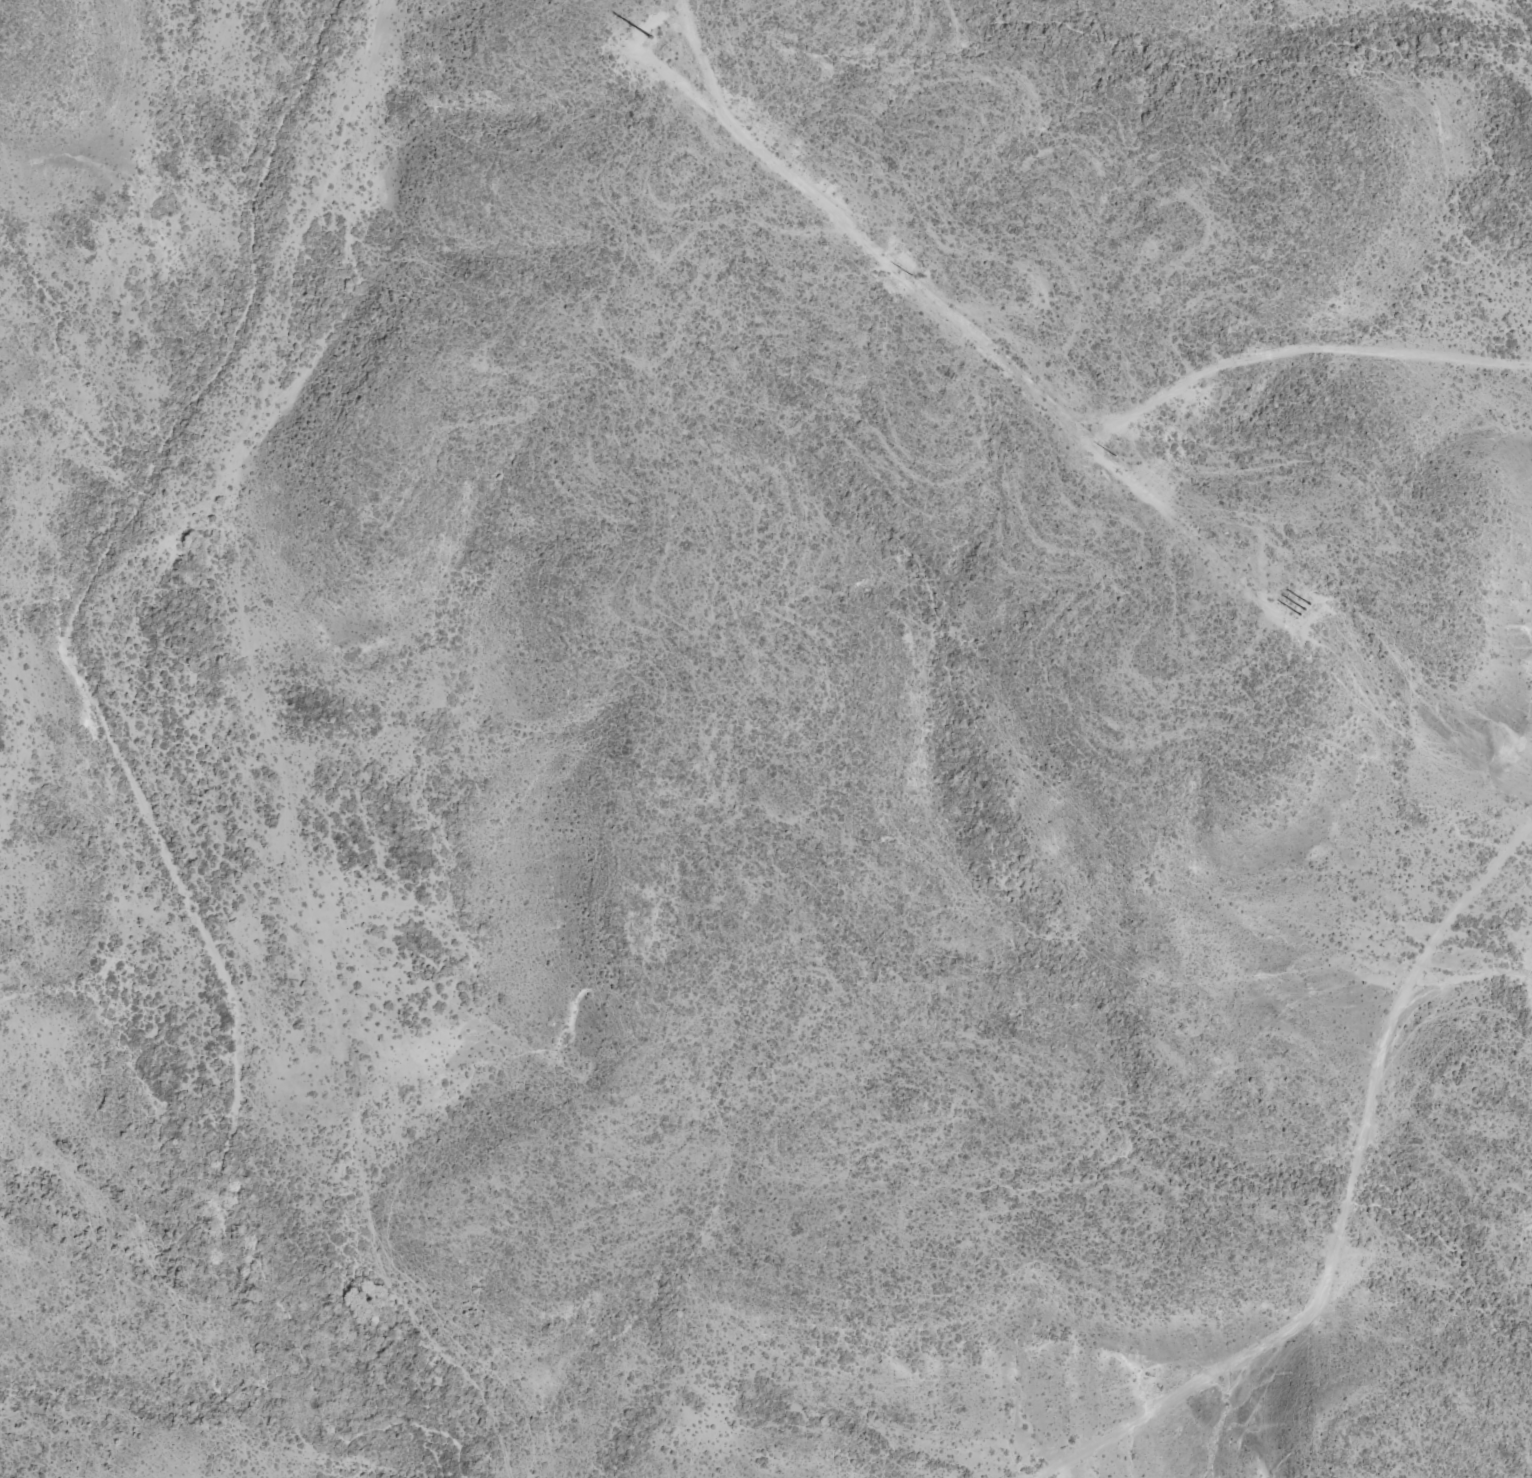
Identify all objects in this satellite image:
power tower: (650, 35)
power tower: (912, 273)
power tower: (1116, 457)
power tower: (1300, 609)
road: (1359, 1211)

